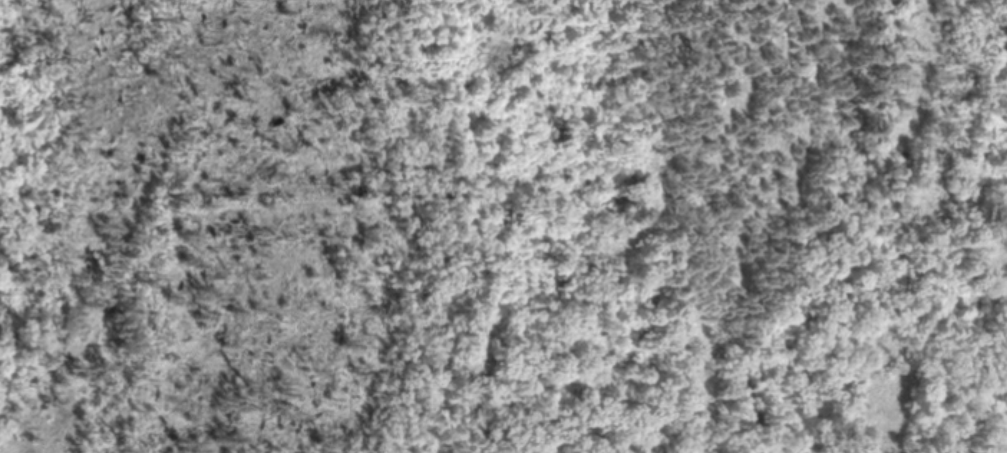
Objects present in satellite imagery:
park: (503, 226)

